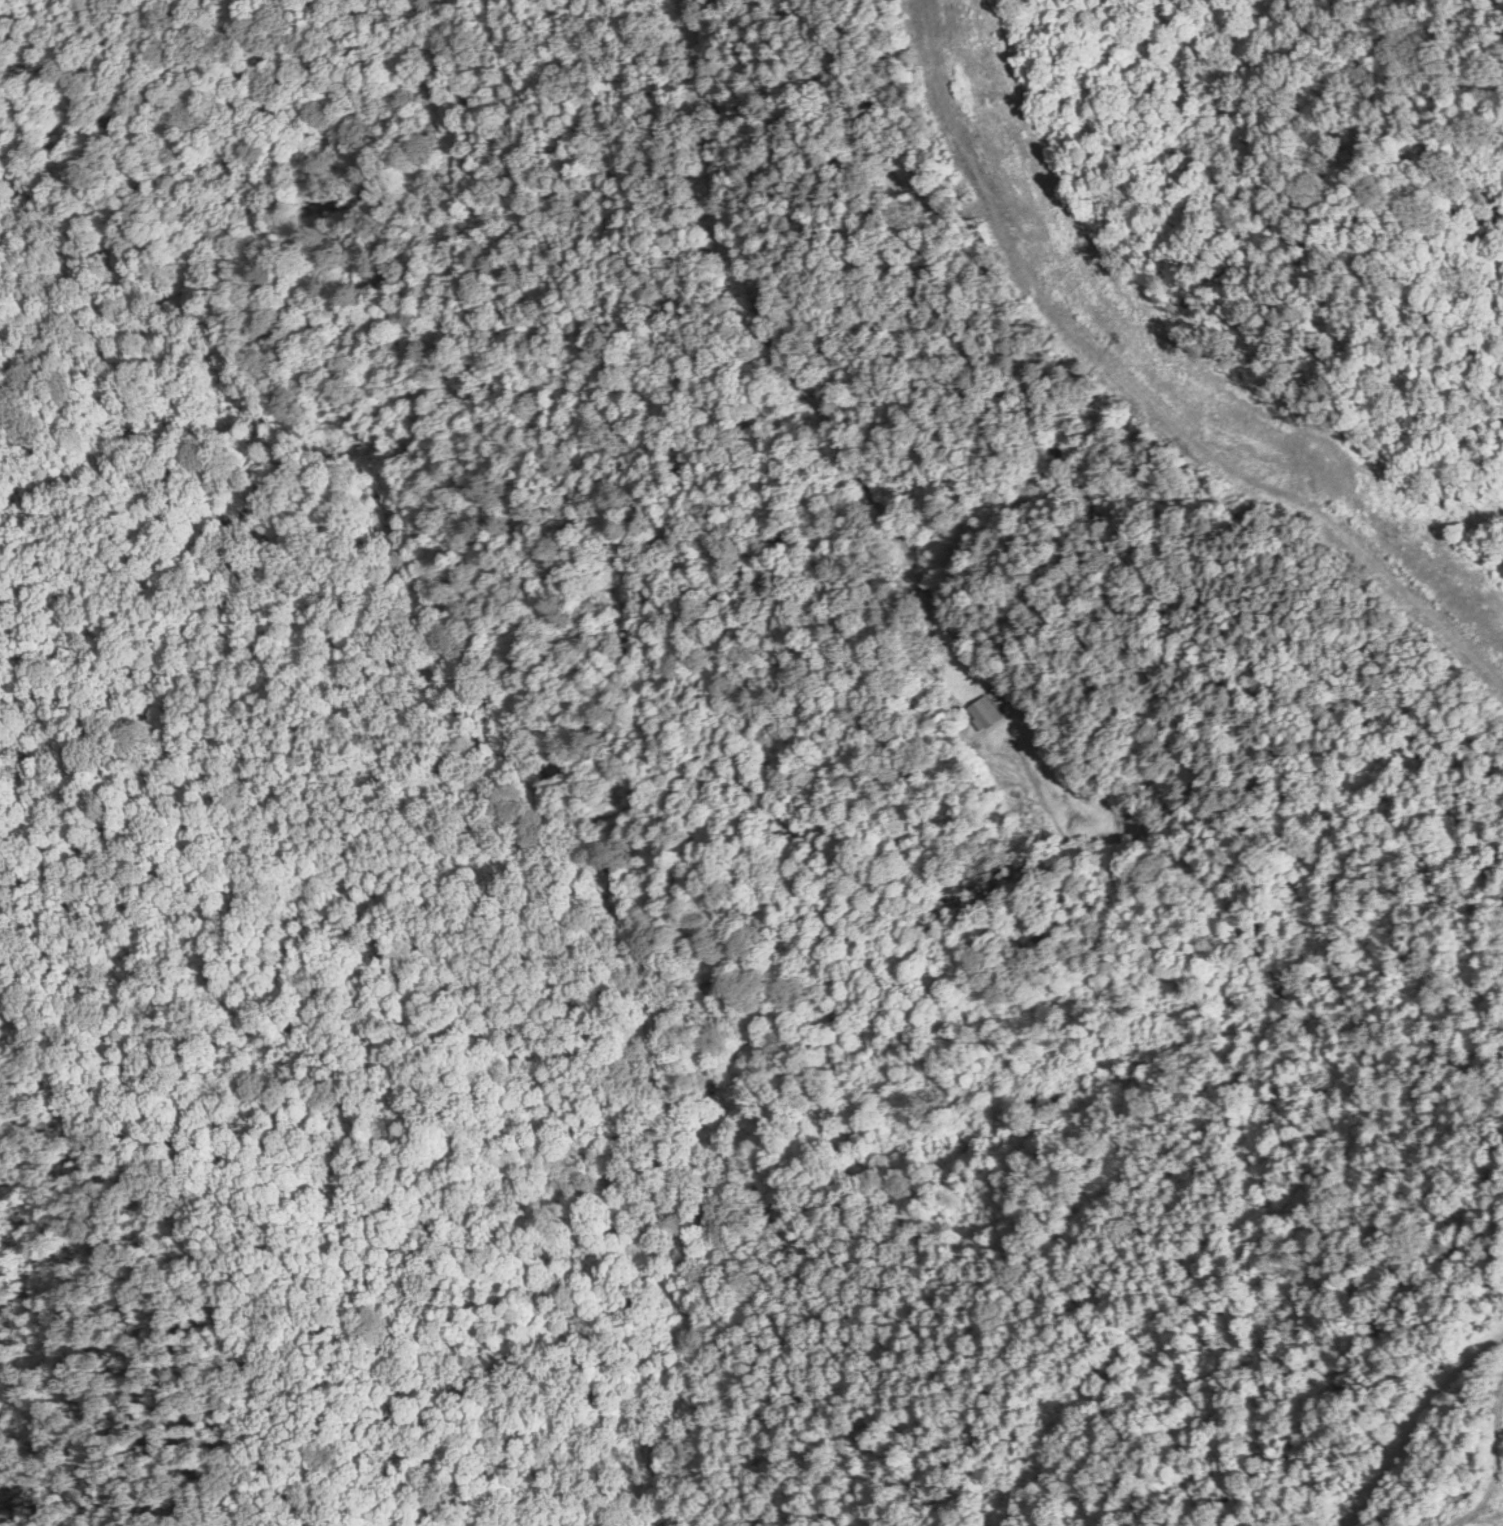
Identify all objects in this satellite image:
road: (1079, 488)
road: (1121, 596)
building: (982, 711)
road: (1490, 1004)
road: (1446, 1317)
road: (1355, 1359)

